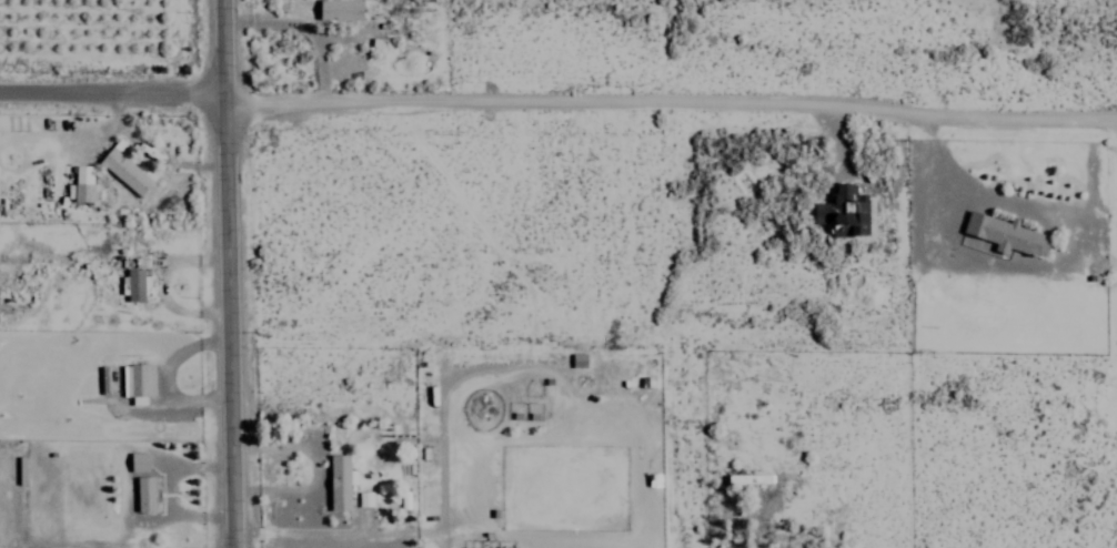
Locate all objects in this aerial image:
building: (340, 9)
road: (558, 100)
building: (124, 168)
building: (82, 184)
building: (844, 212)
building: (1004, 234)
road: (233, 274)
building: (135, 284)
building: (577, 359)
building: (138, 382)
building: (139, 461)
building: (744, 479)
building: (340, 481)
building: (144, 494)
building: (363, 498)

